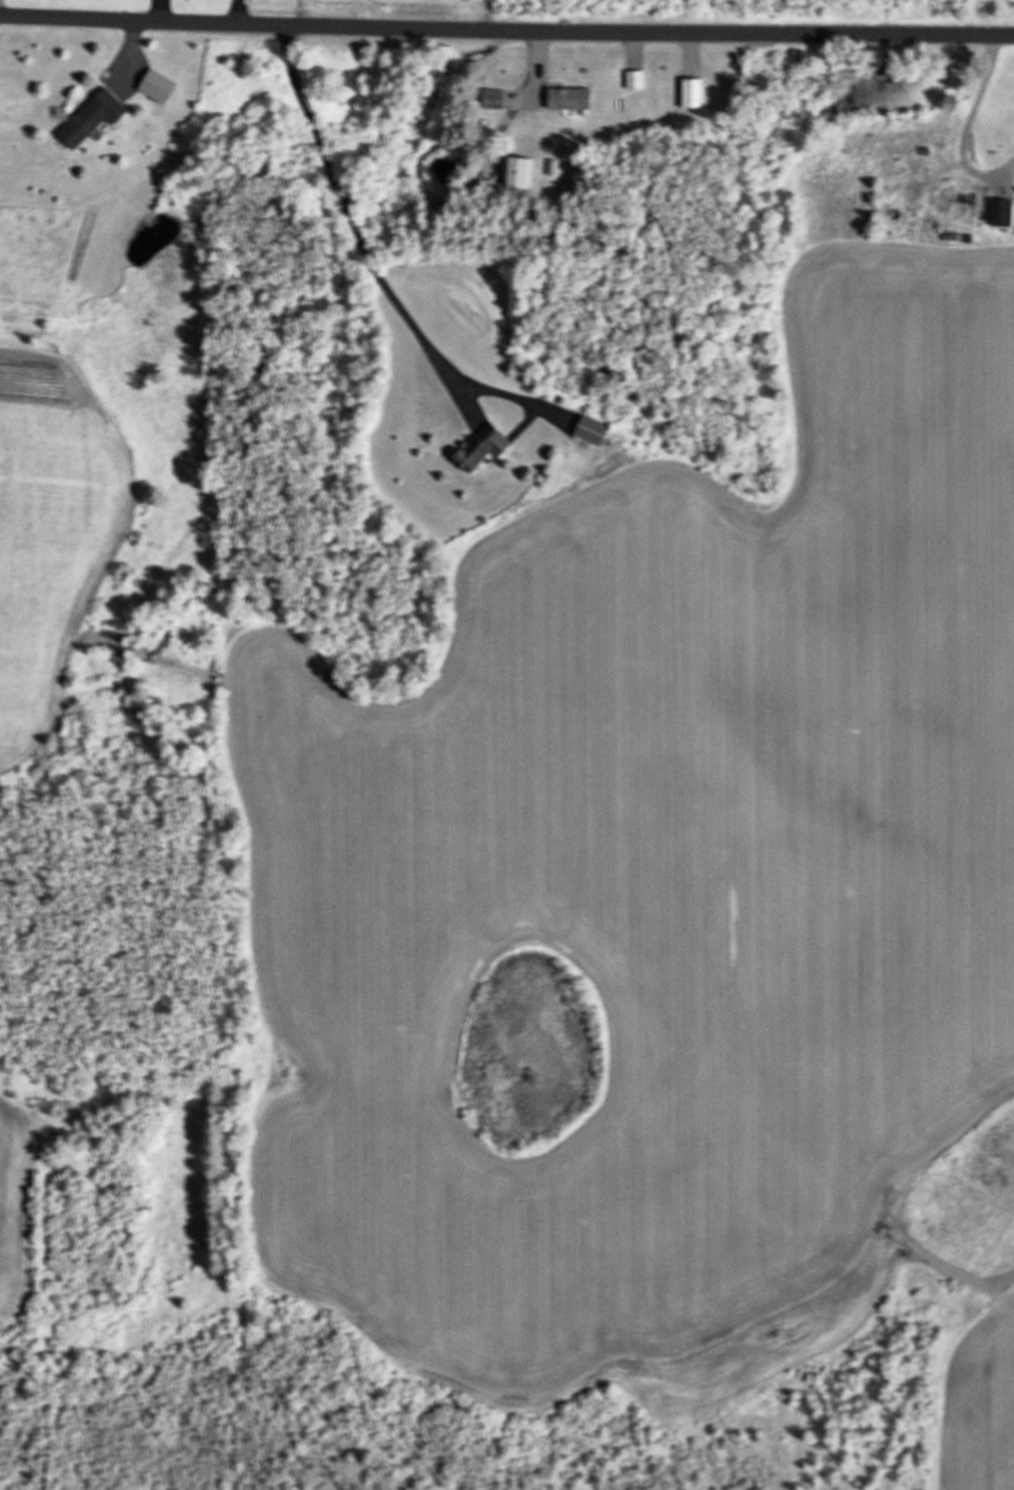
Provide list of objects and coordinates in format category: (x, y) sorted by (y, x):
road: (506, 30)
building: (632, 78)
building: (155, 85)
building: (690, 92)
building: (567, 97)
building: (493, 98)
building: (90, 117)
building: (960, 204)
building: (1000, 211)
building: (590, 429)
building: (481, 447)

